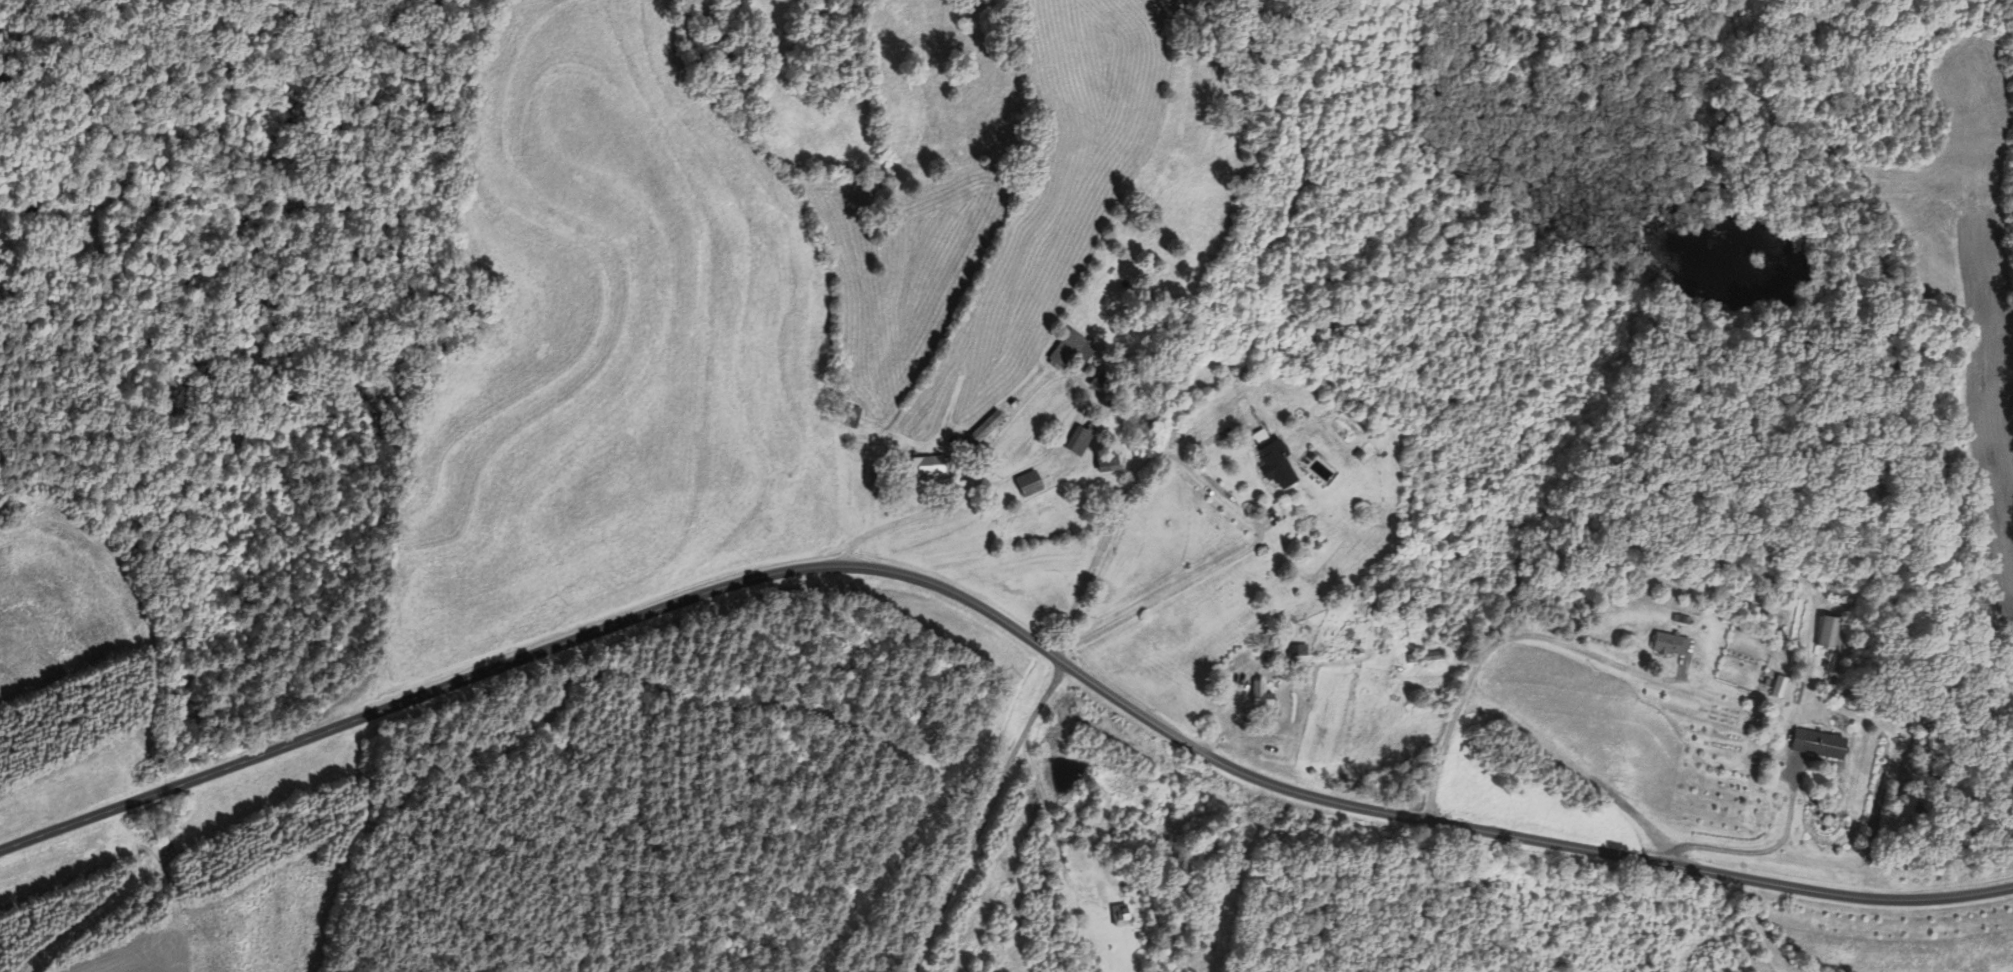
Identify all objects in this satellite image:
building: (1071, 351)
building: (1103, 382)
building: (850, 416)
building: (981, 430)
building: (1260, 436)
building: (1079, 438)
building: (1276, 465)
building: (921, 471)
building: (1028, 483)
road: (1218, 494)
road: (1005, 622)
building: (1827, 632)
road: (1515, 640)
building: (1670, 645)
building: (1295, 650)
building: (1424, 657)
building: (1776, 686)
building: (1260, 698)
building: (1818, 744)
road: (982, 821)
road: (1763, 840)
road: (1053, 853)

